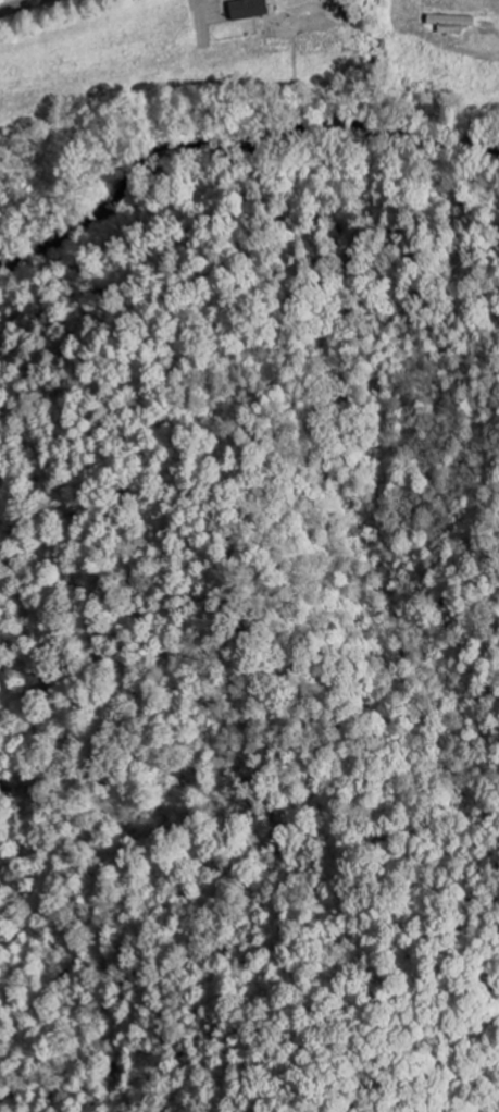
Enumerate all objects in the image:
road: (15, 4)
building: (251, 8)
building: (454, 23)

